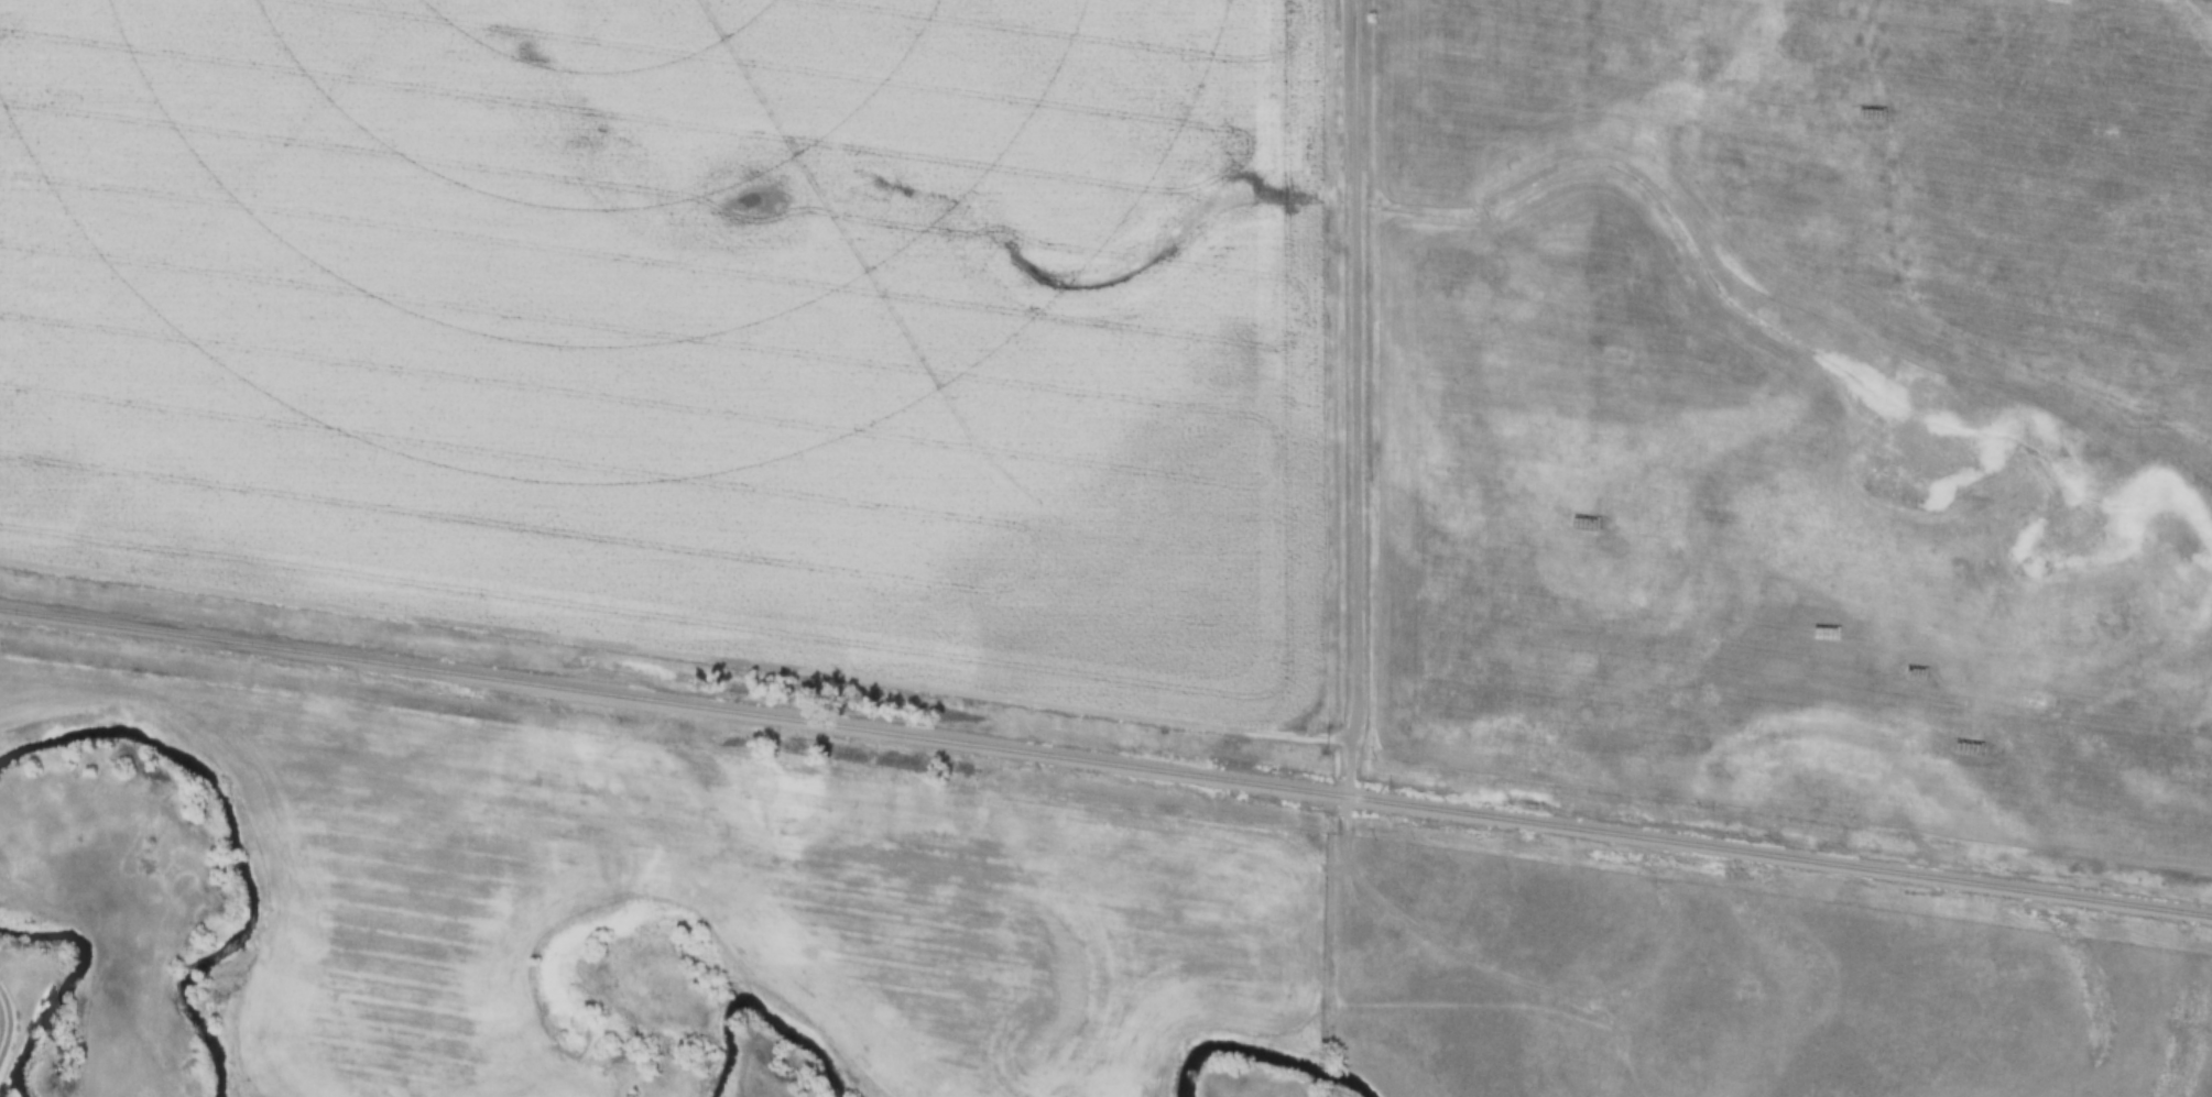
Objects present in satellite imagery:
road: (1345, 395)
road: (672, 648)
railway: (1105, 761)
road: (1426, 930)

